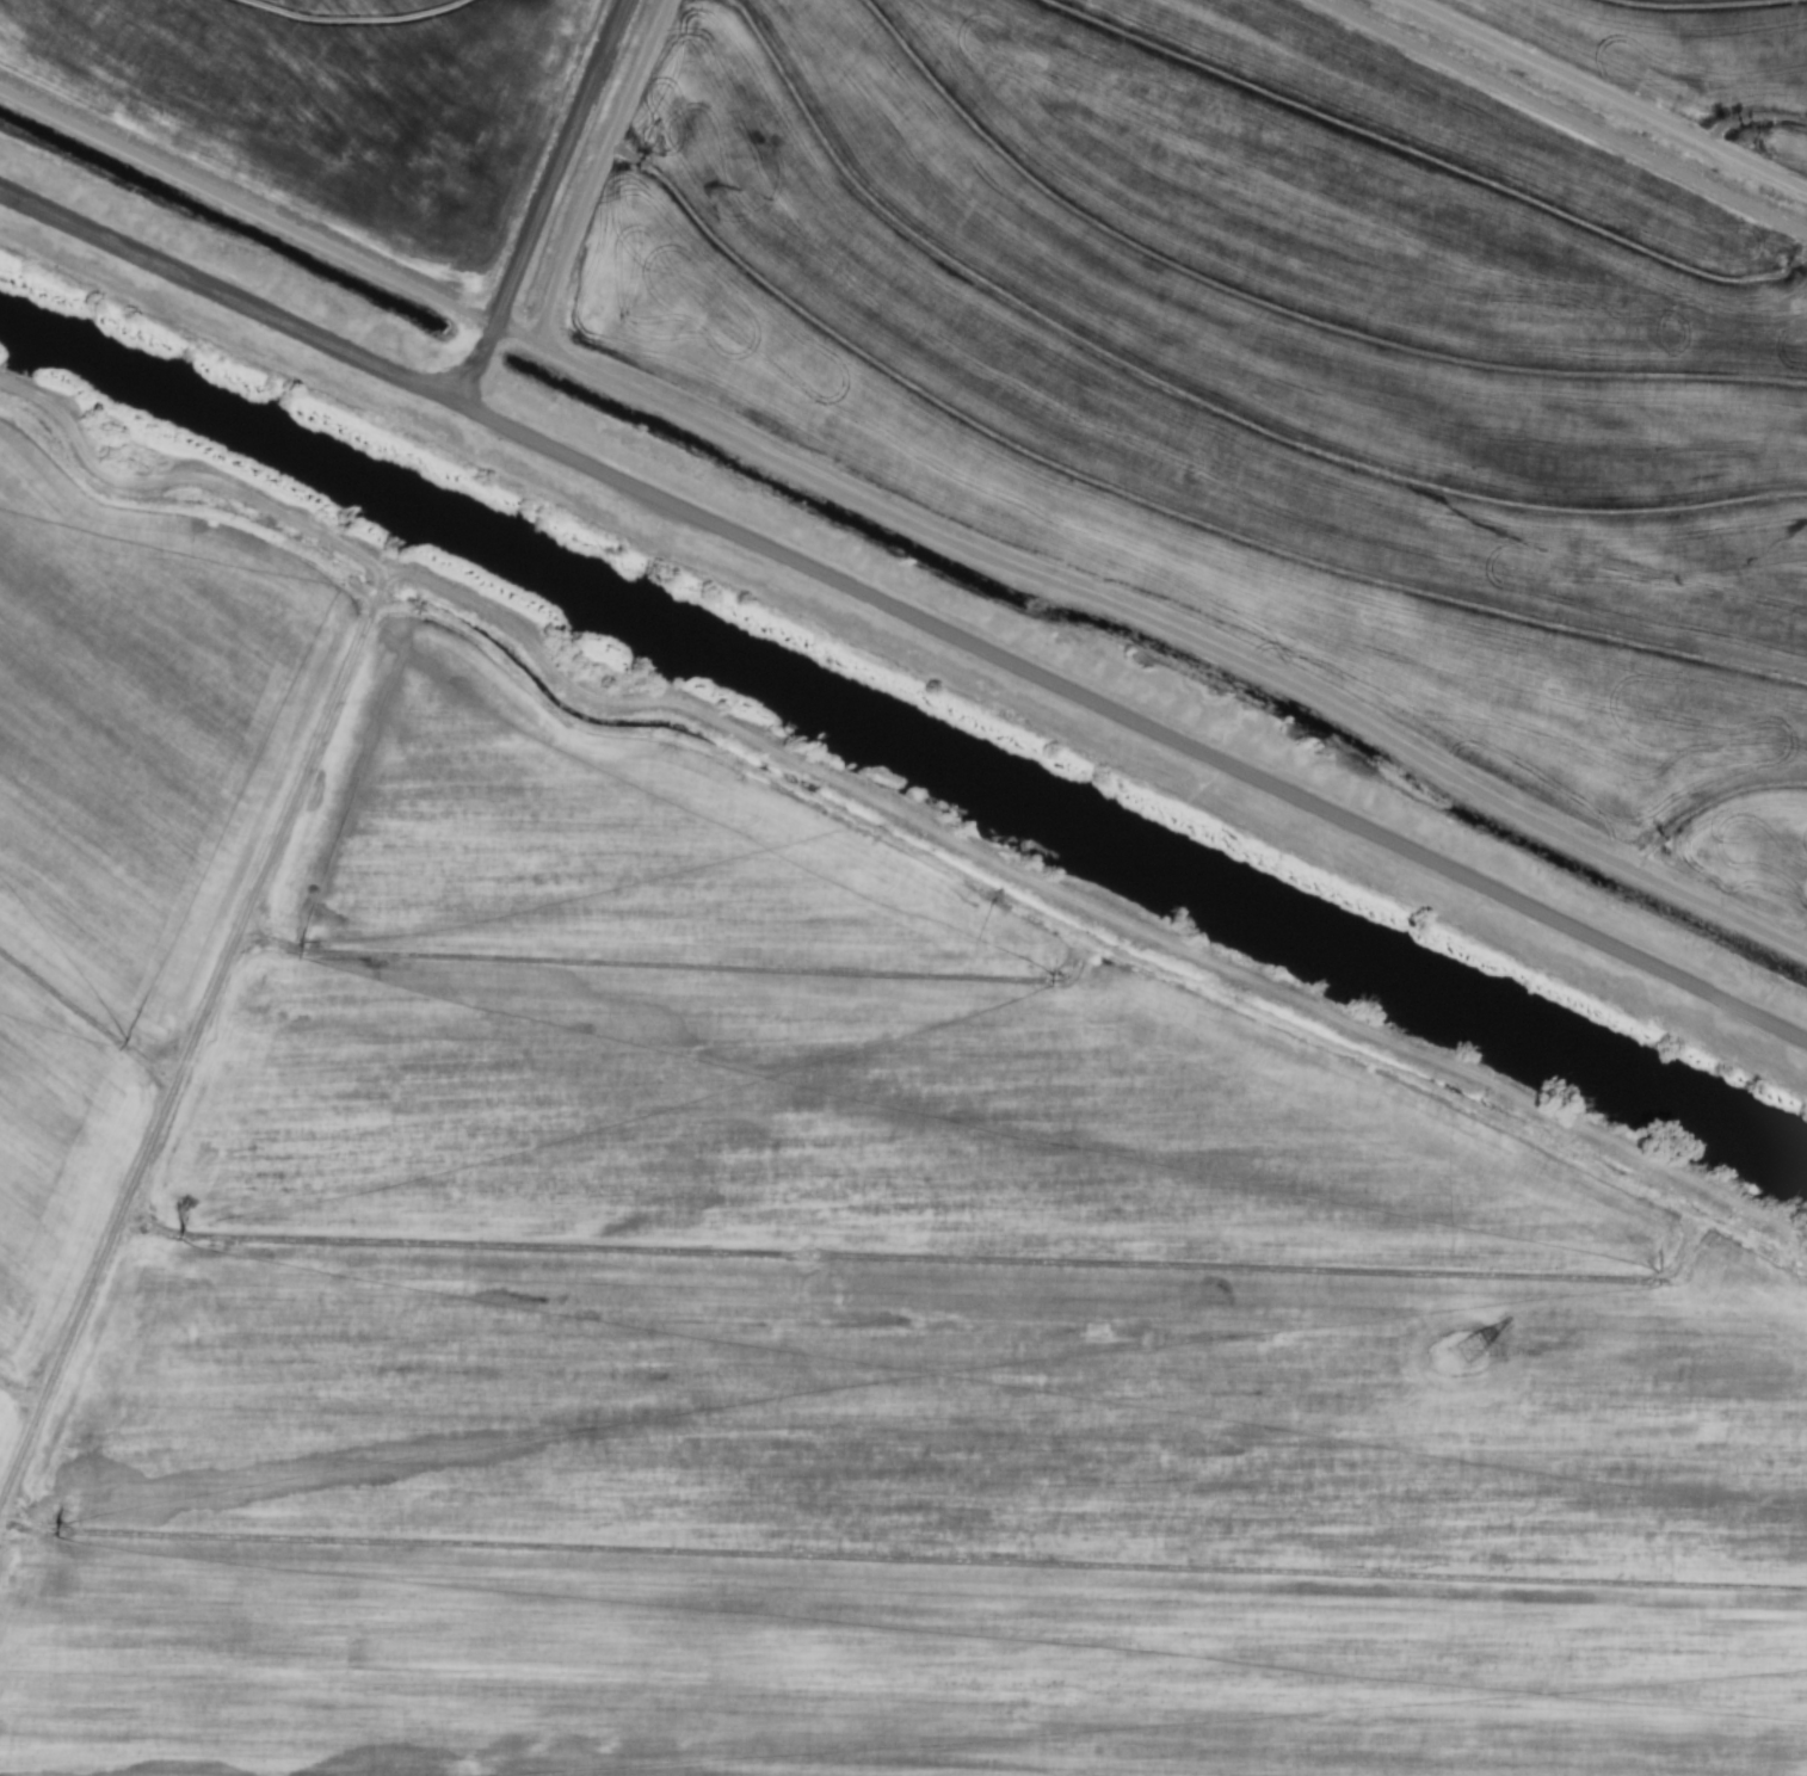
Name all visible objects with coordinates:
road: (547, 205)
crop: (1135, 334)
road: (903, 618)
power tower: (1472, 1357)

